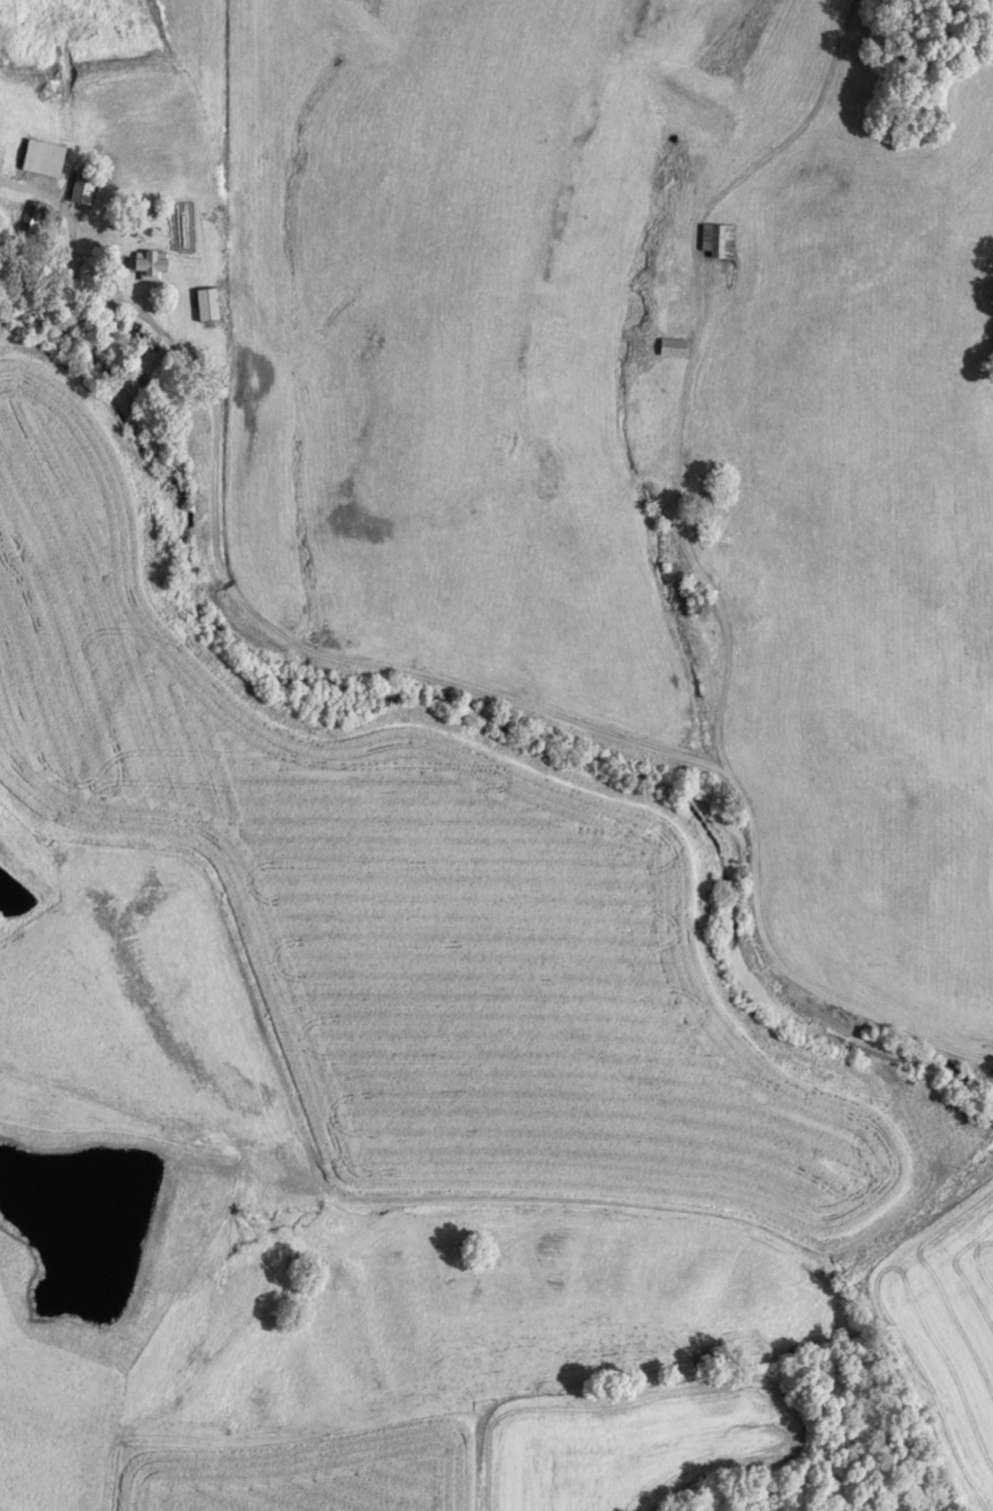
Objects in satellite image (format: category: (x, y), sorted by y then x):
building: (43, 157)
building: (81, 187)
building: (717, 239)
building: (150, 264)
building: (206, 303)
building: (672, 347)
road: (683, 538)
road: (425, 691)

